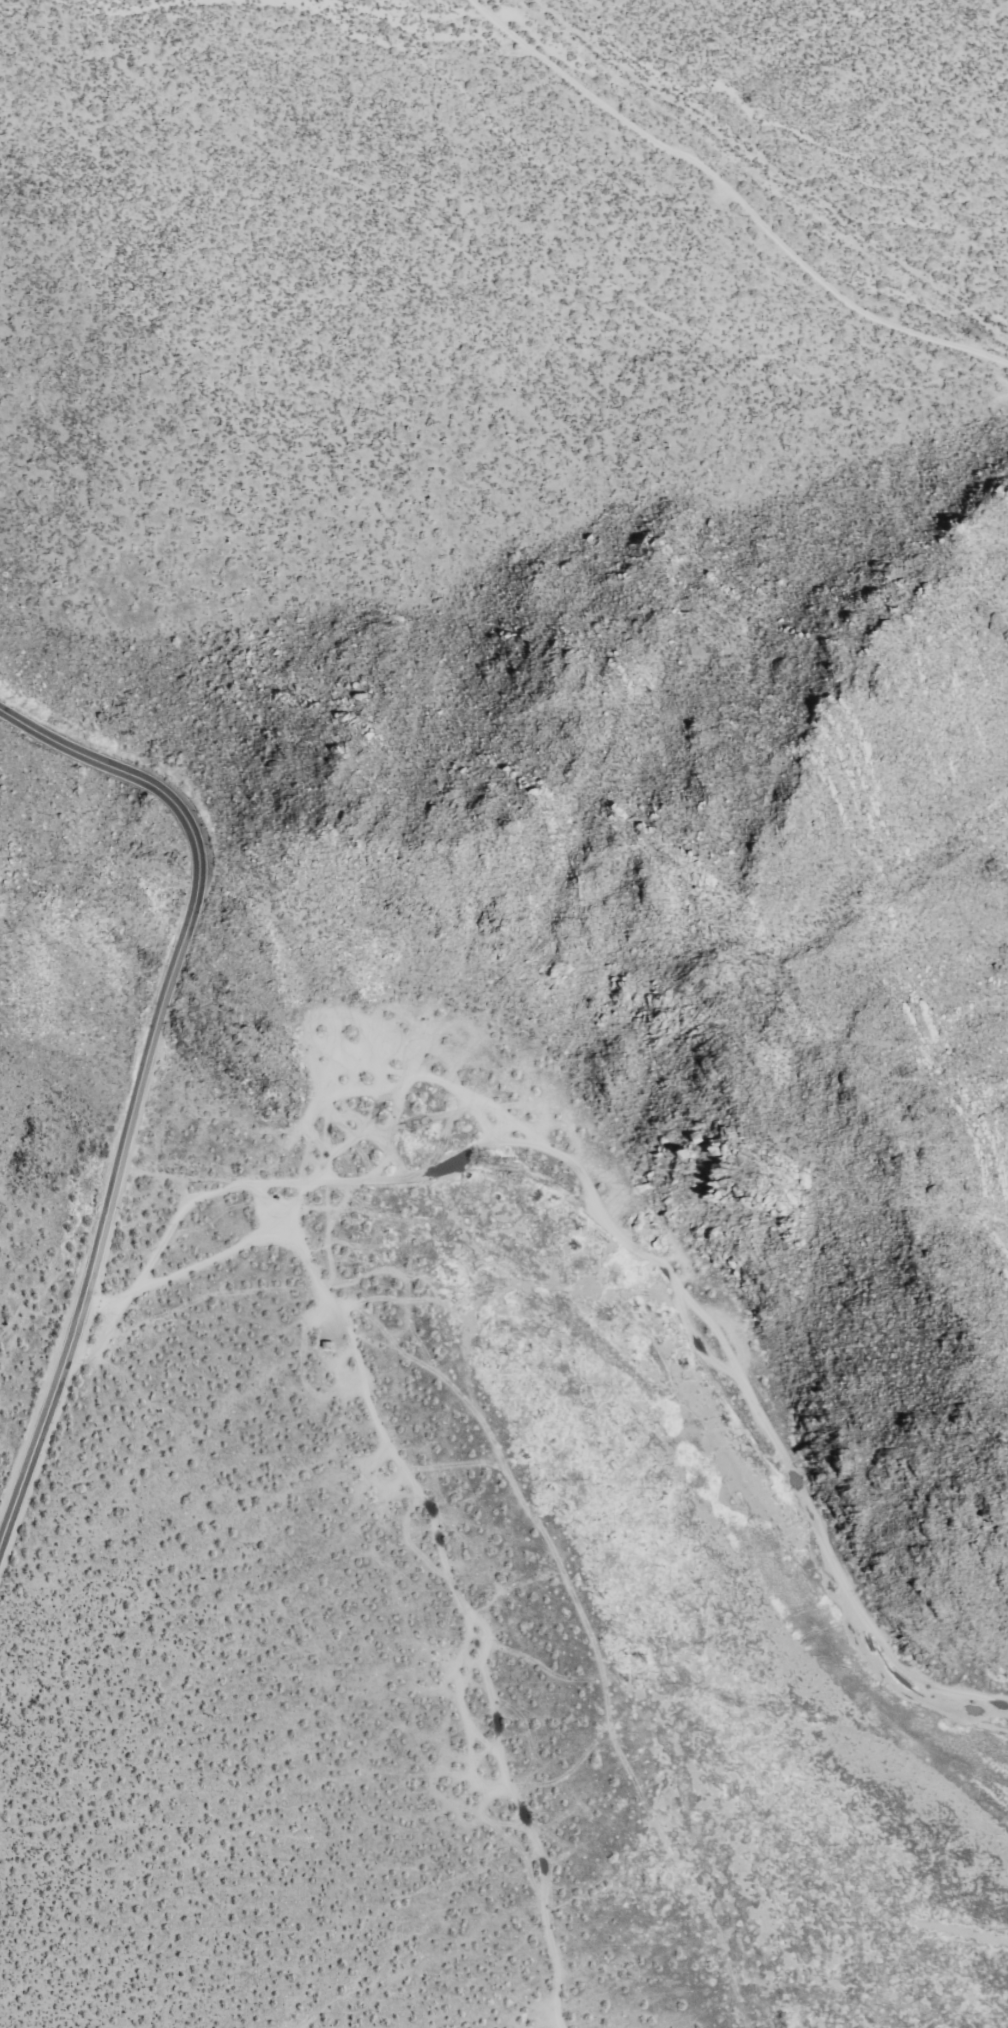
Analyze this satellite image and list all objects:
road: (734, 197)
road: (410, 1080)
road: (141, 1087)
road: (332, 1102)
road: (278, 1181)
road: (624, 1239)
road: (159, 1244)
road: (712, 1323)
building: (327, 1343)
road: (461, 1608)

